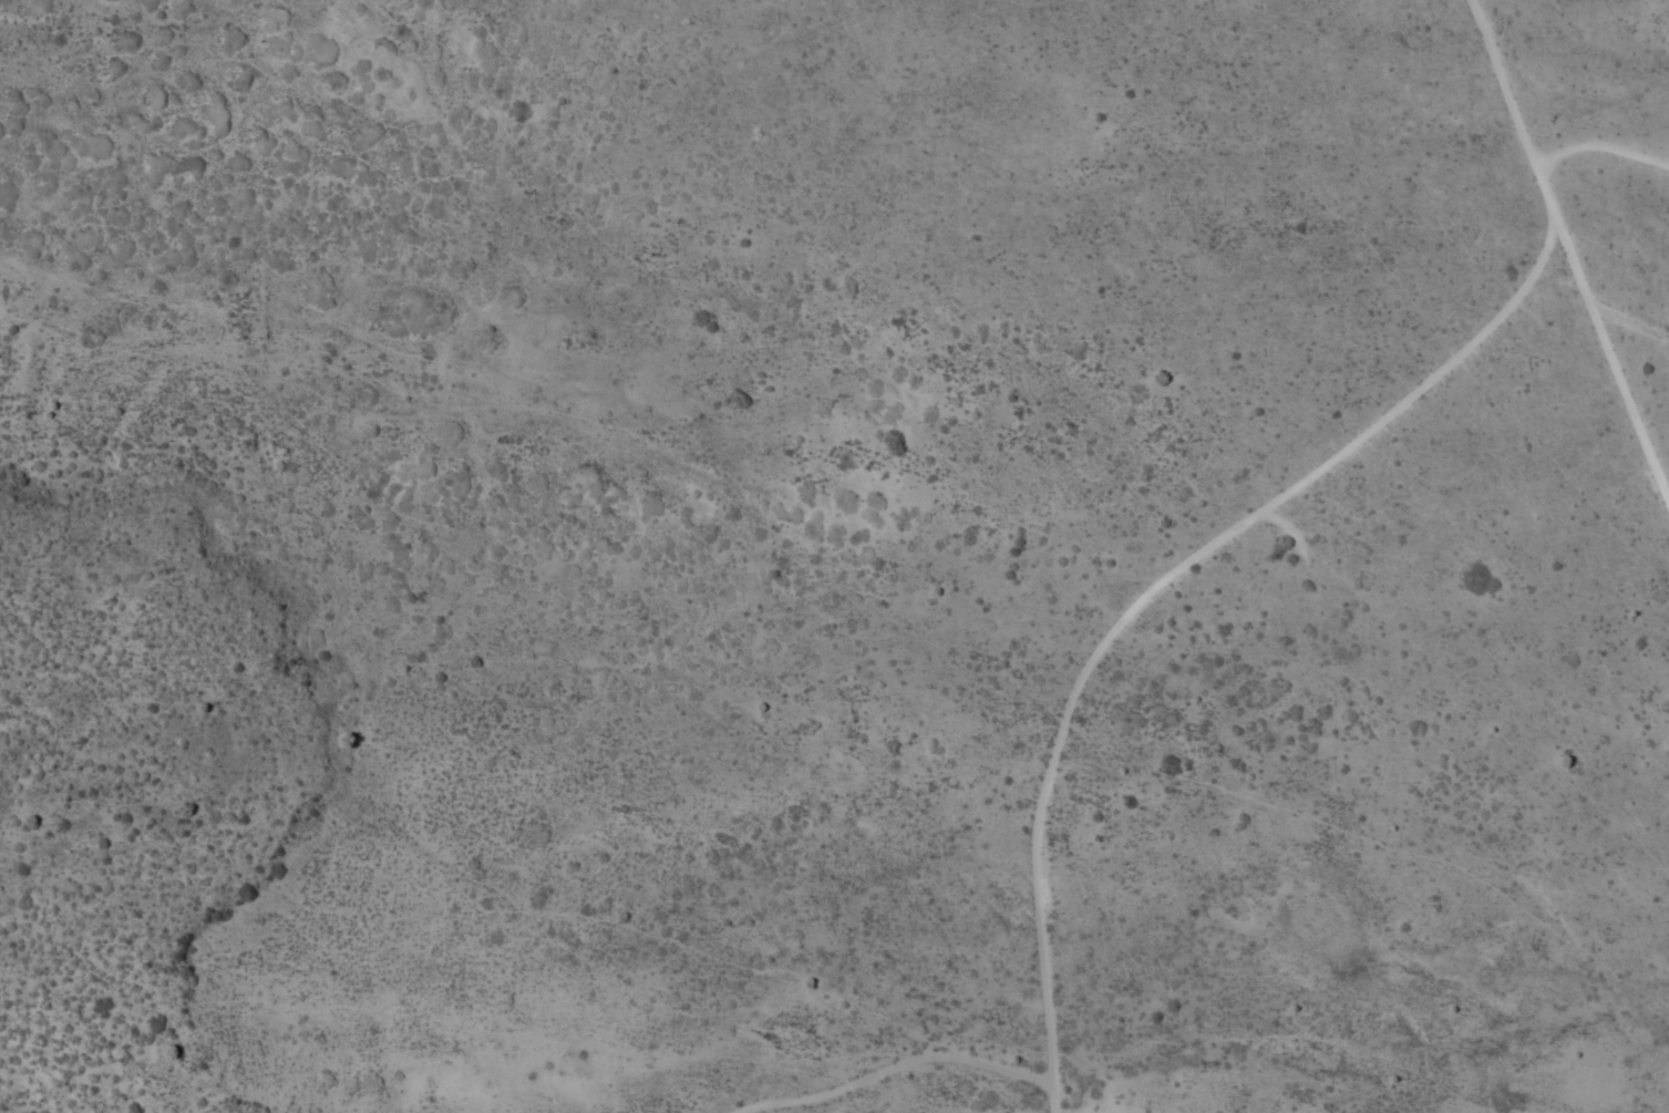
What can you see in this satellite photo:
road: (1565, 244)
road: (1142, 584)

